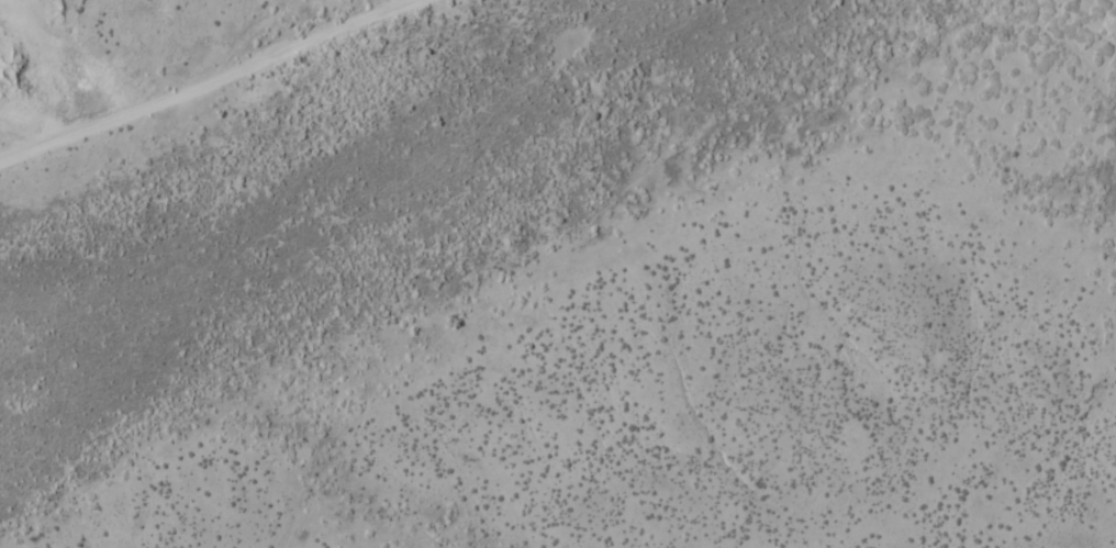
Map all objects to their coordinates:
road: (181, 96)

